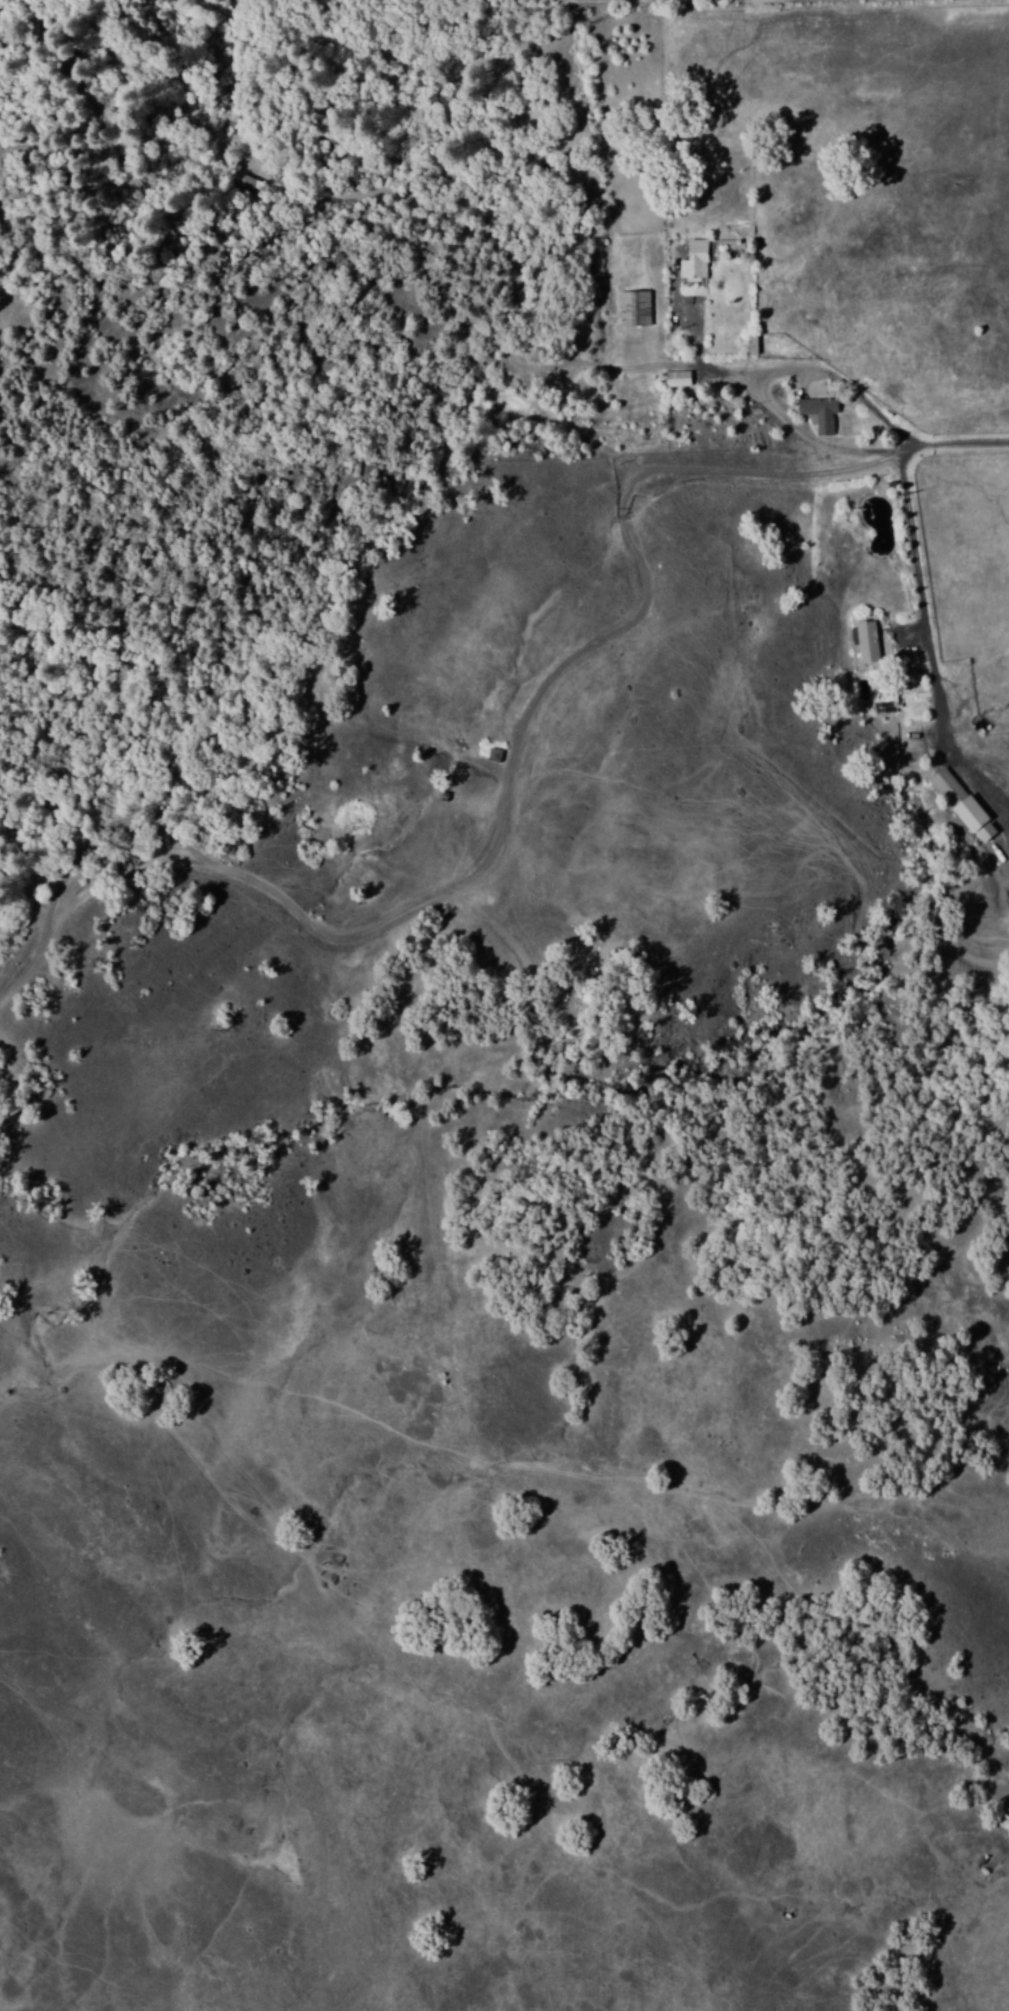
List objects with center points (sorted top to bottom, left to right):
building: (726, 246)
building: (695, 260)
building: (634, 309)
building: (753, 346)
building: (676, 379)
building: (819, 412)
road: (856, 451)
road: (911, 472)
building: (868, 642)
building: (885, 708)
building: (912, 712)
building: (946, 788)
building: (971, 813)
building: (986, 832)
road: (496, 838)

